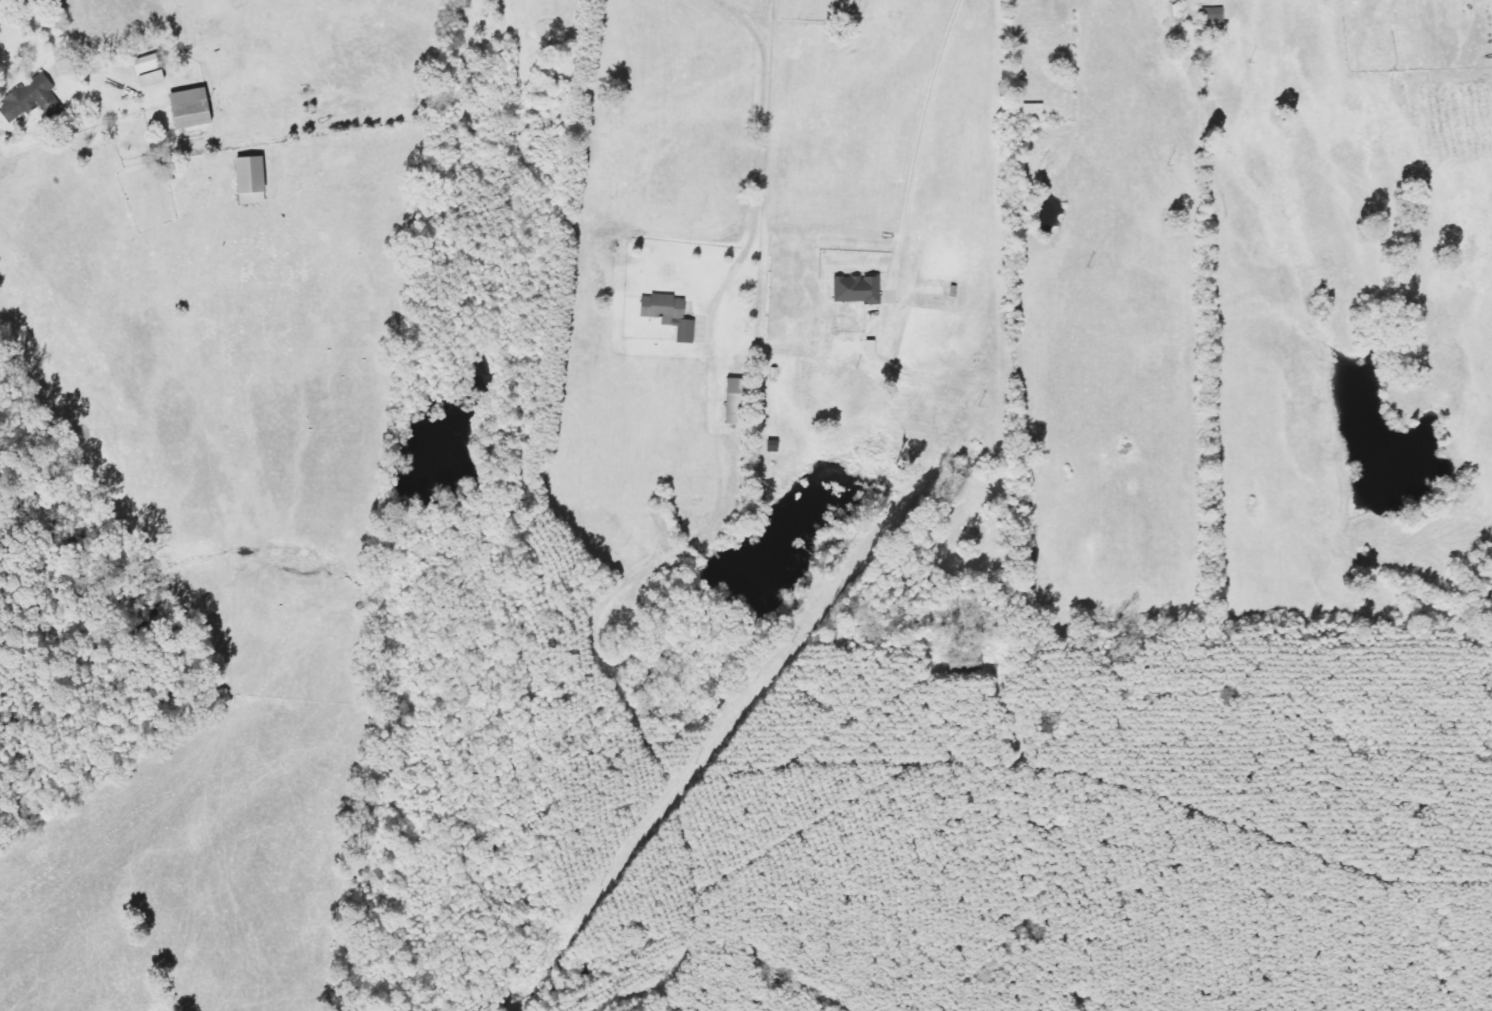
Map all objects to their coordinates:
building: (37, 99)
building: (197, 108)
building: (1039, 111)
road: (759, 145)
building: (257, 180)
building: (862, 289)
building: (675, 314)
building: (877, 348)
building: (740, 401)

